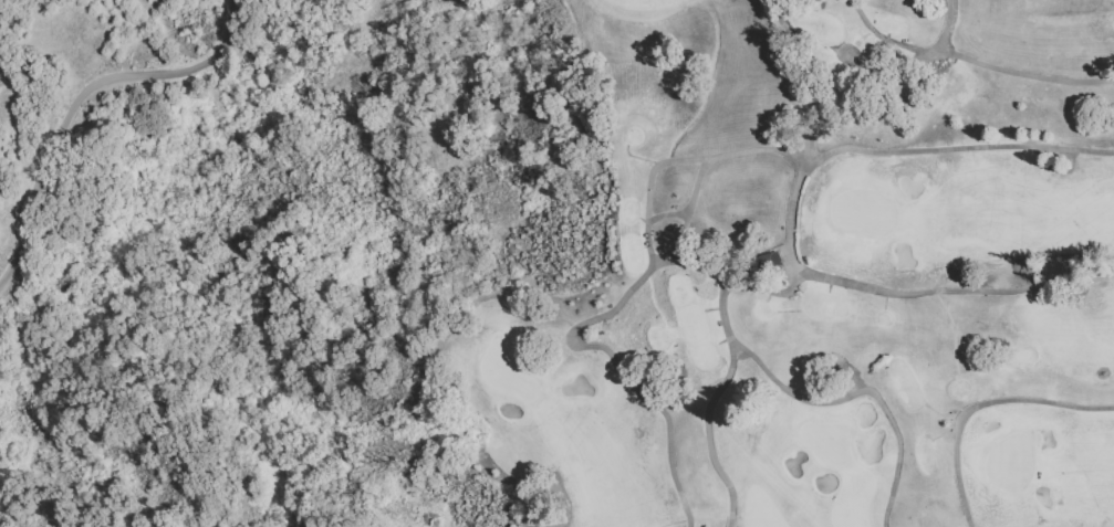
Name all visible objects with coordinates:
road: (779, 6)
road: (946, 24)
road: (885, 38)
road: (1023, 75)
road: (820, 77)
road: (75, 97)
road: (706, 140)
road: (785, 220)
building: (769, 264)
park: (822, 270)
road: (585, 345)
road: (728, 361)
road: (975, 401)
road: (797, 425)

